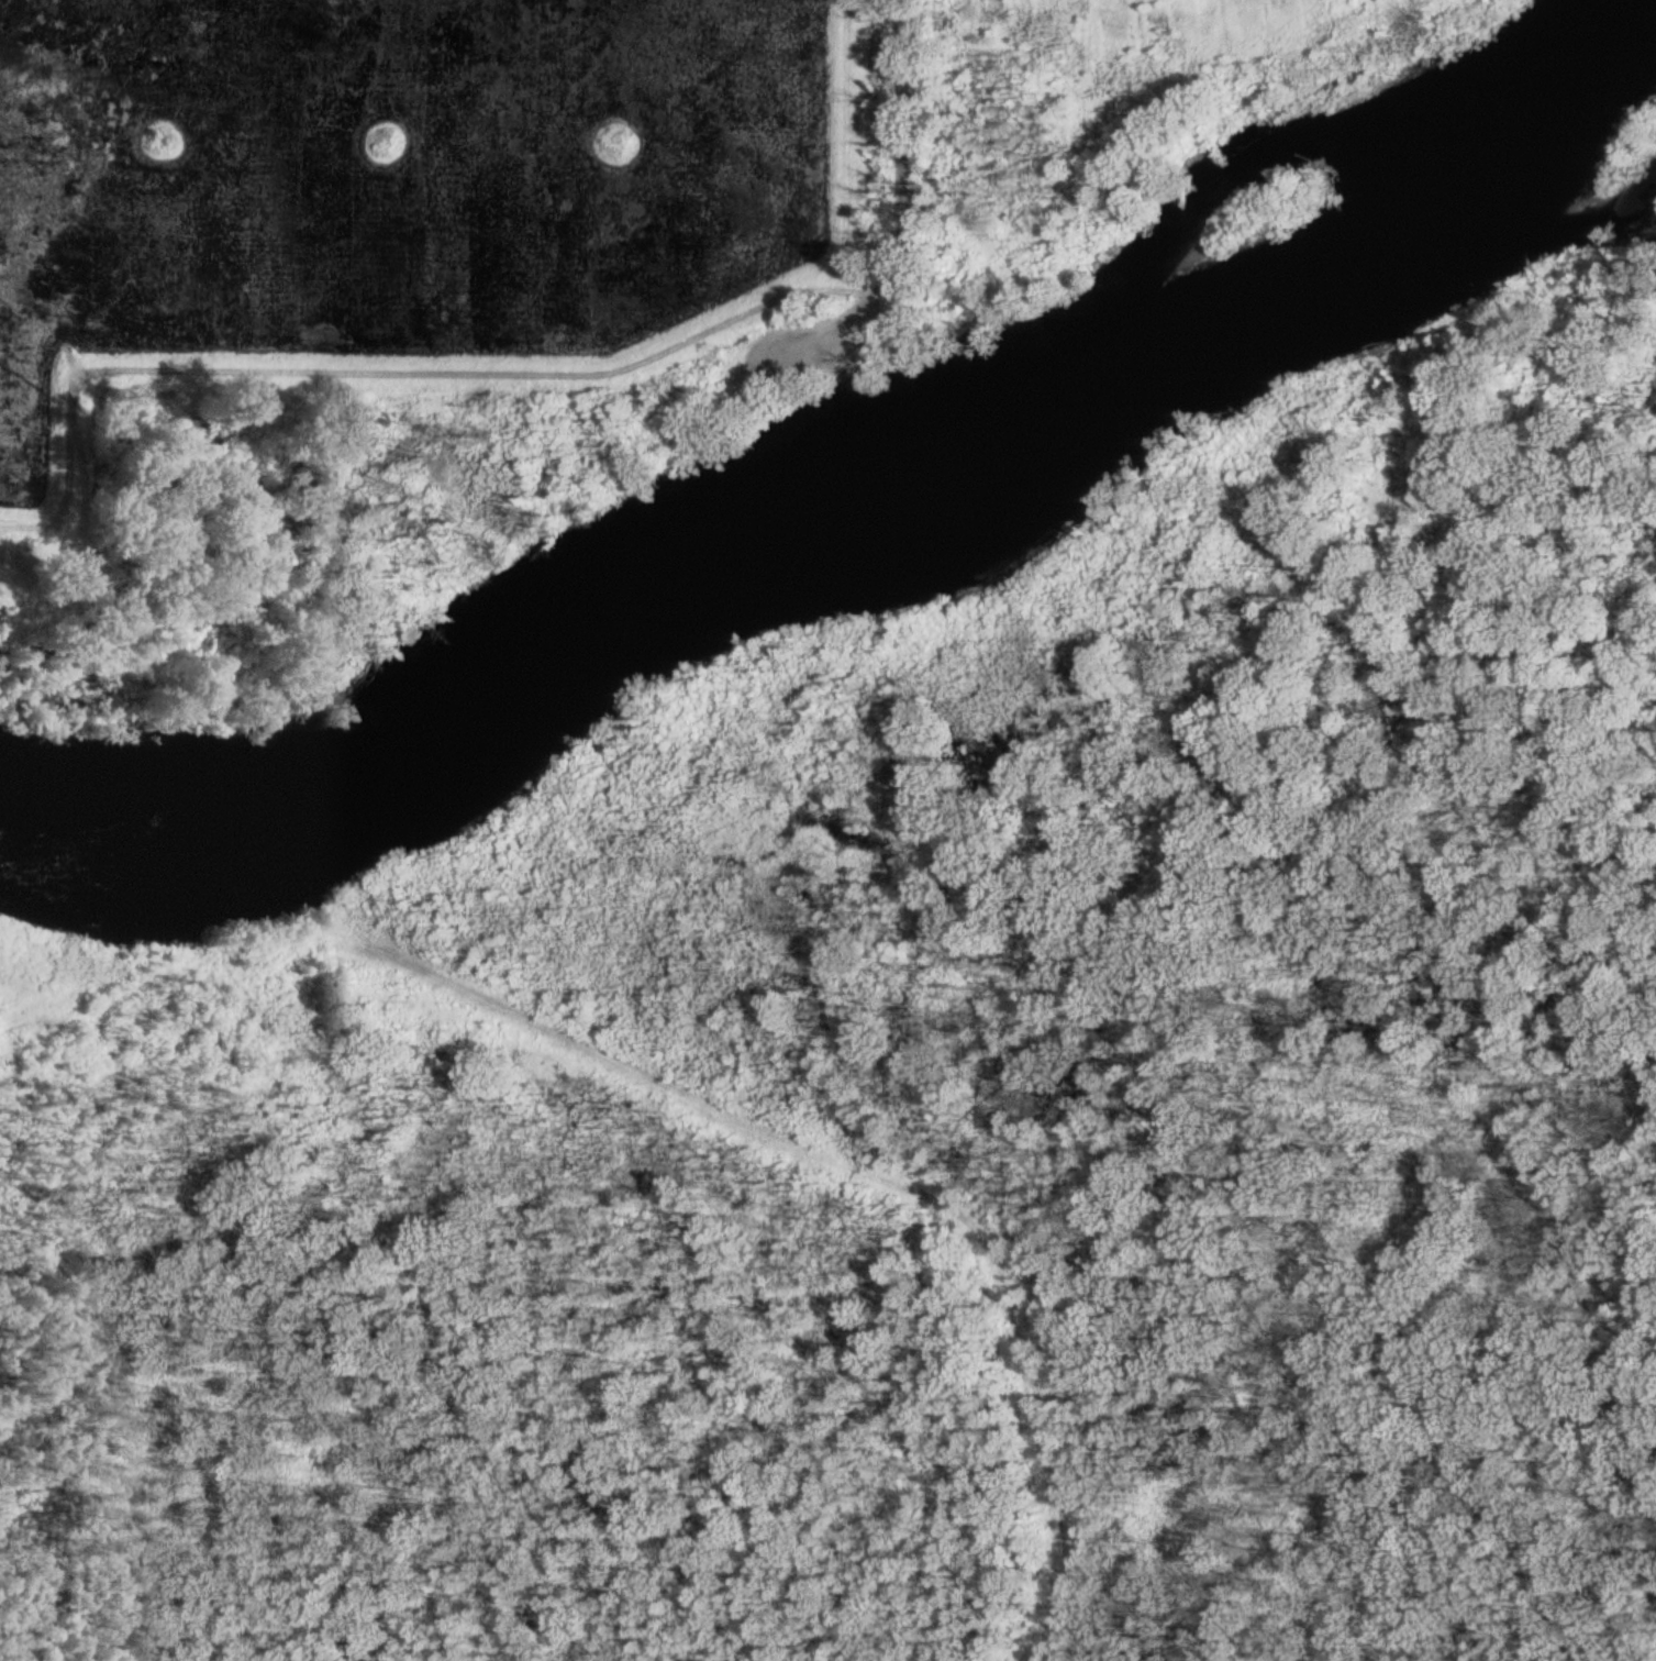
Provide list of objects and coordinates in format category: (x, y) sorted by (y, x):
road: (918, 145)
river: (846, 523)
road: (813, 674)
road: (989, 1217)

